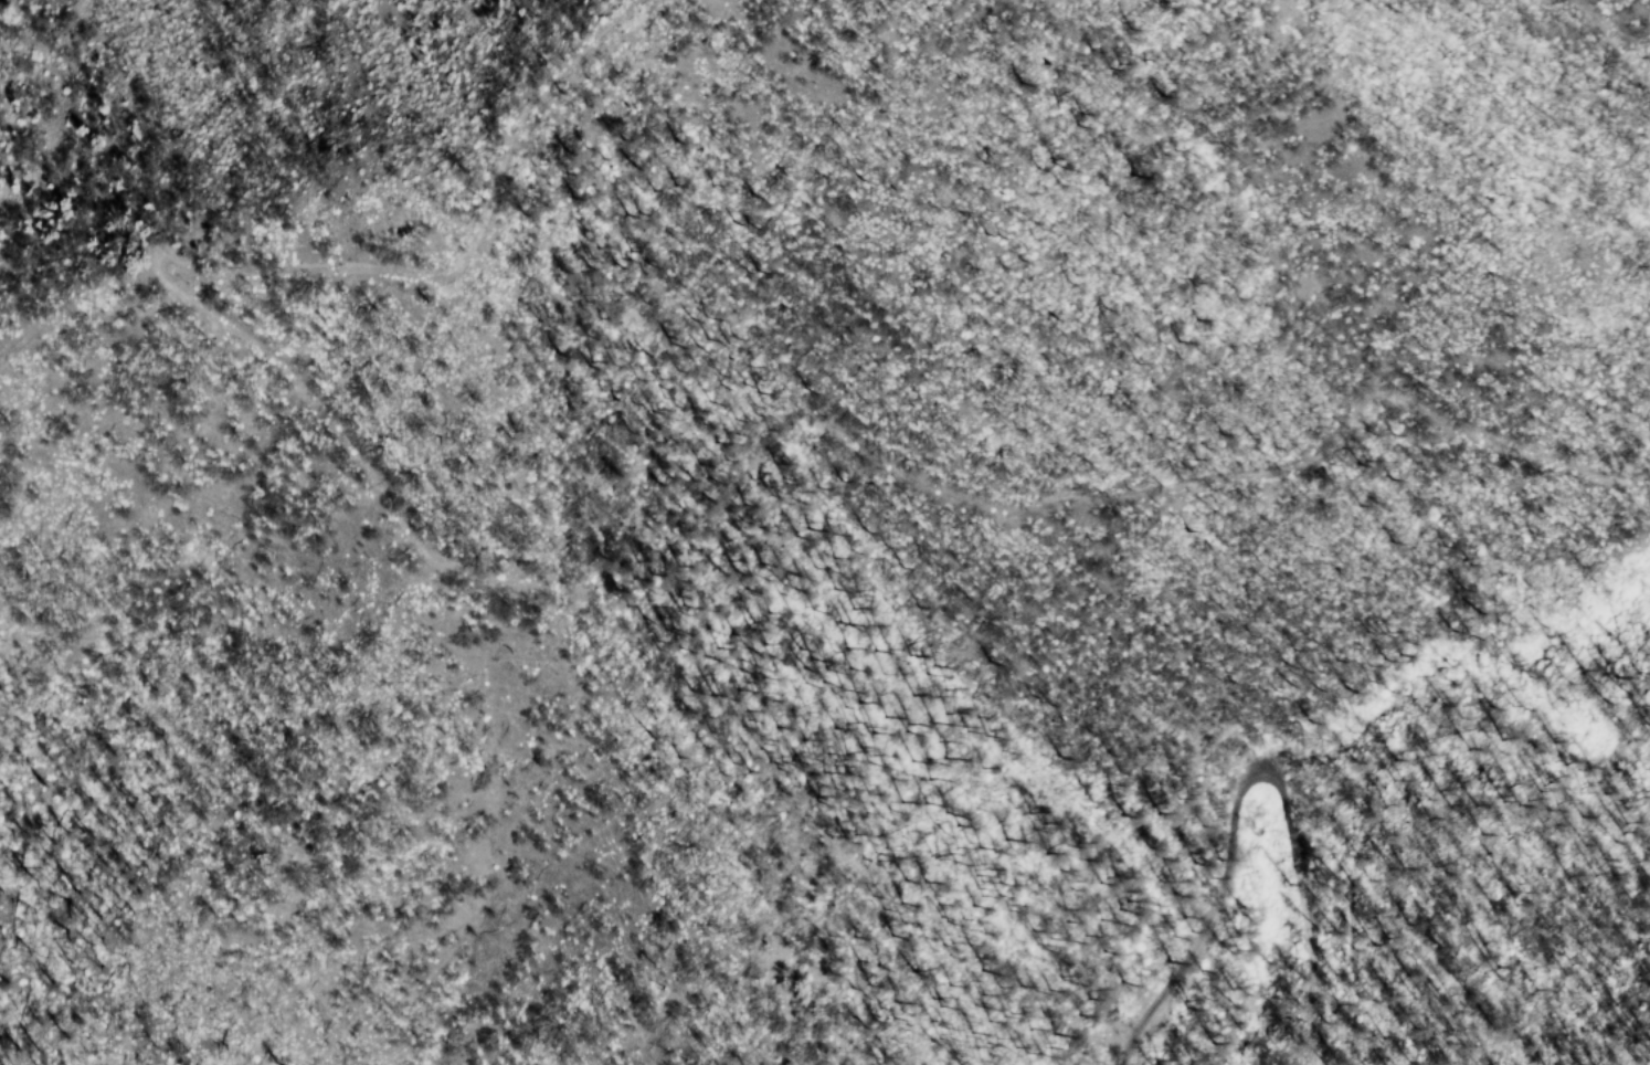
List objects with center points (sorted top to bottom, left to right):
road: (1263, 879)

